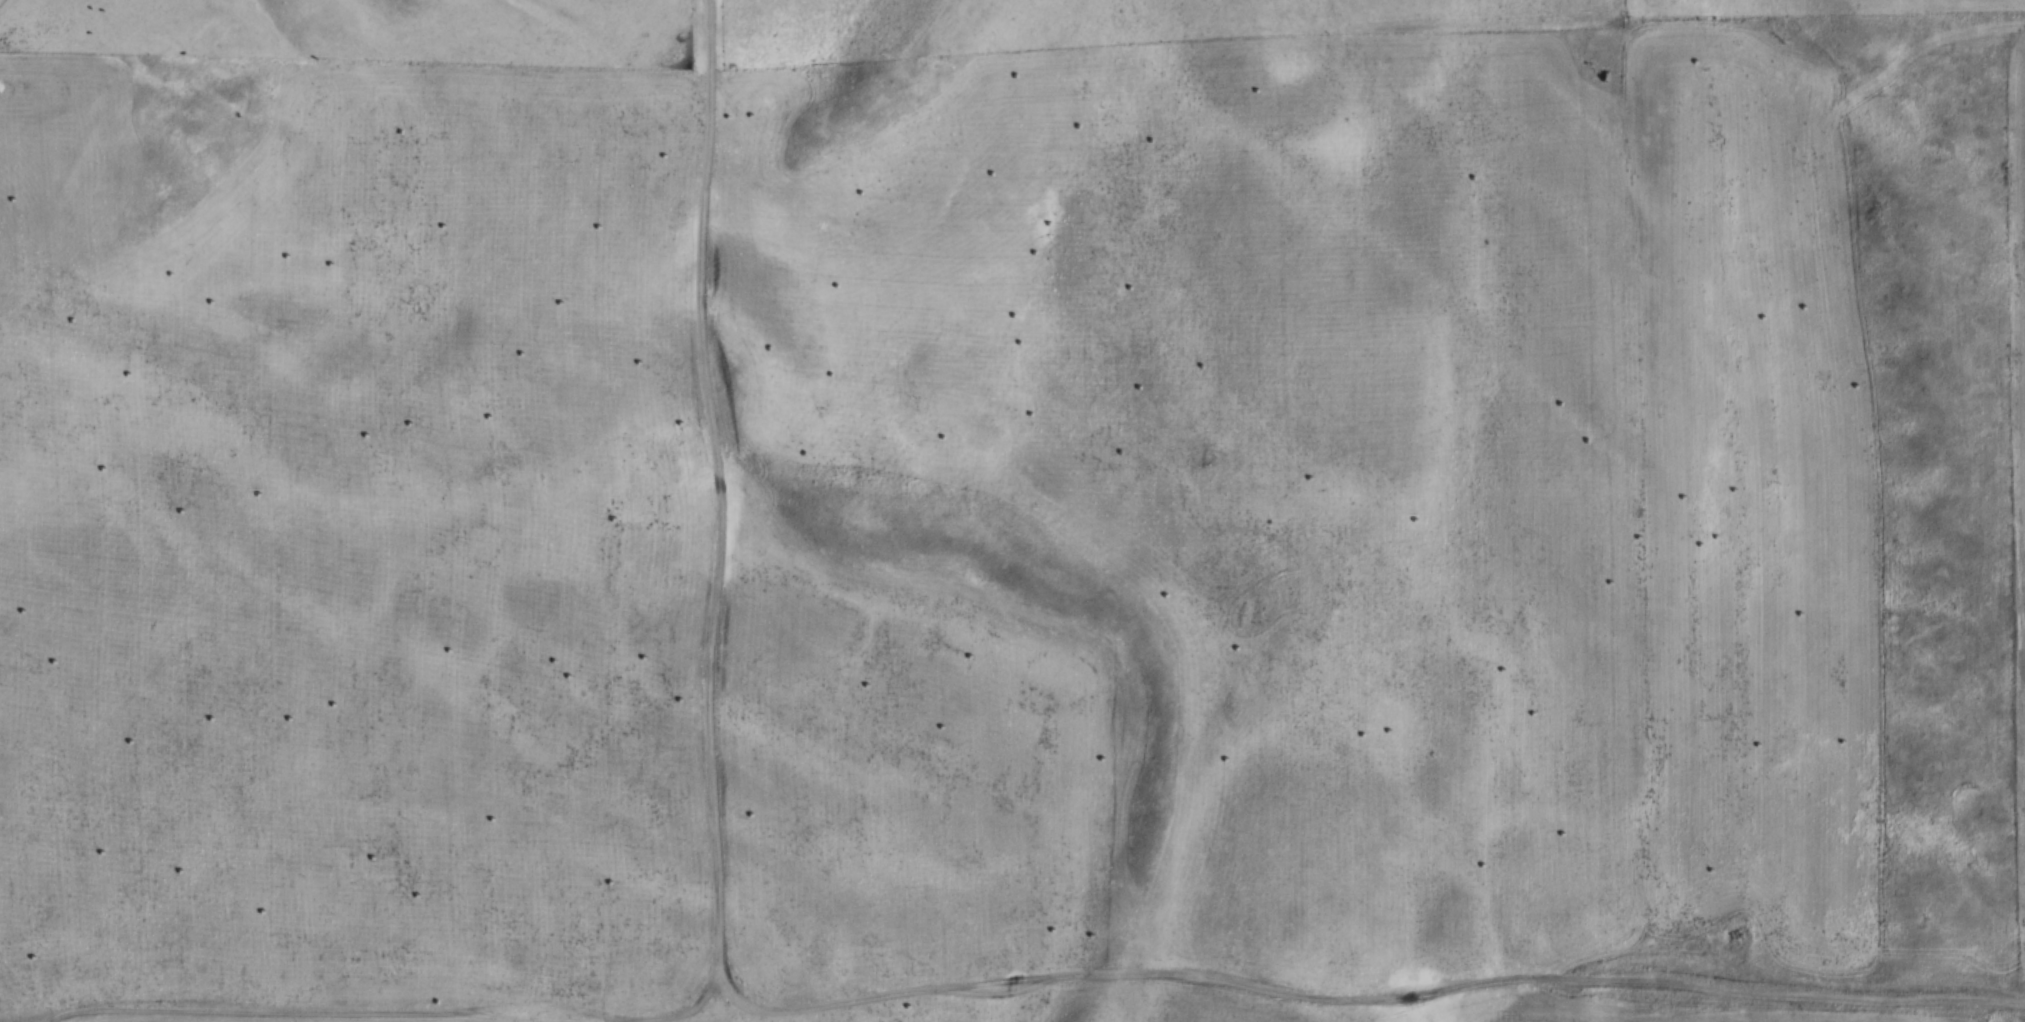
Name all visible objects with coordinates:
road: (722, 843)
road: (736, 990)
road: (1389, 996)

